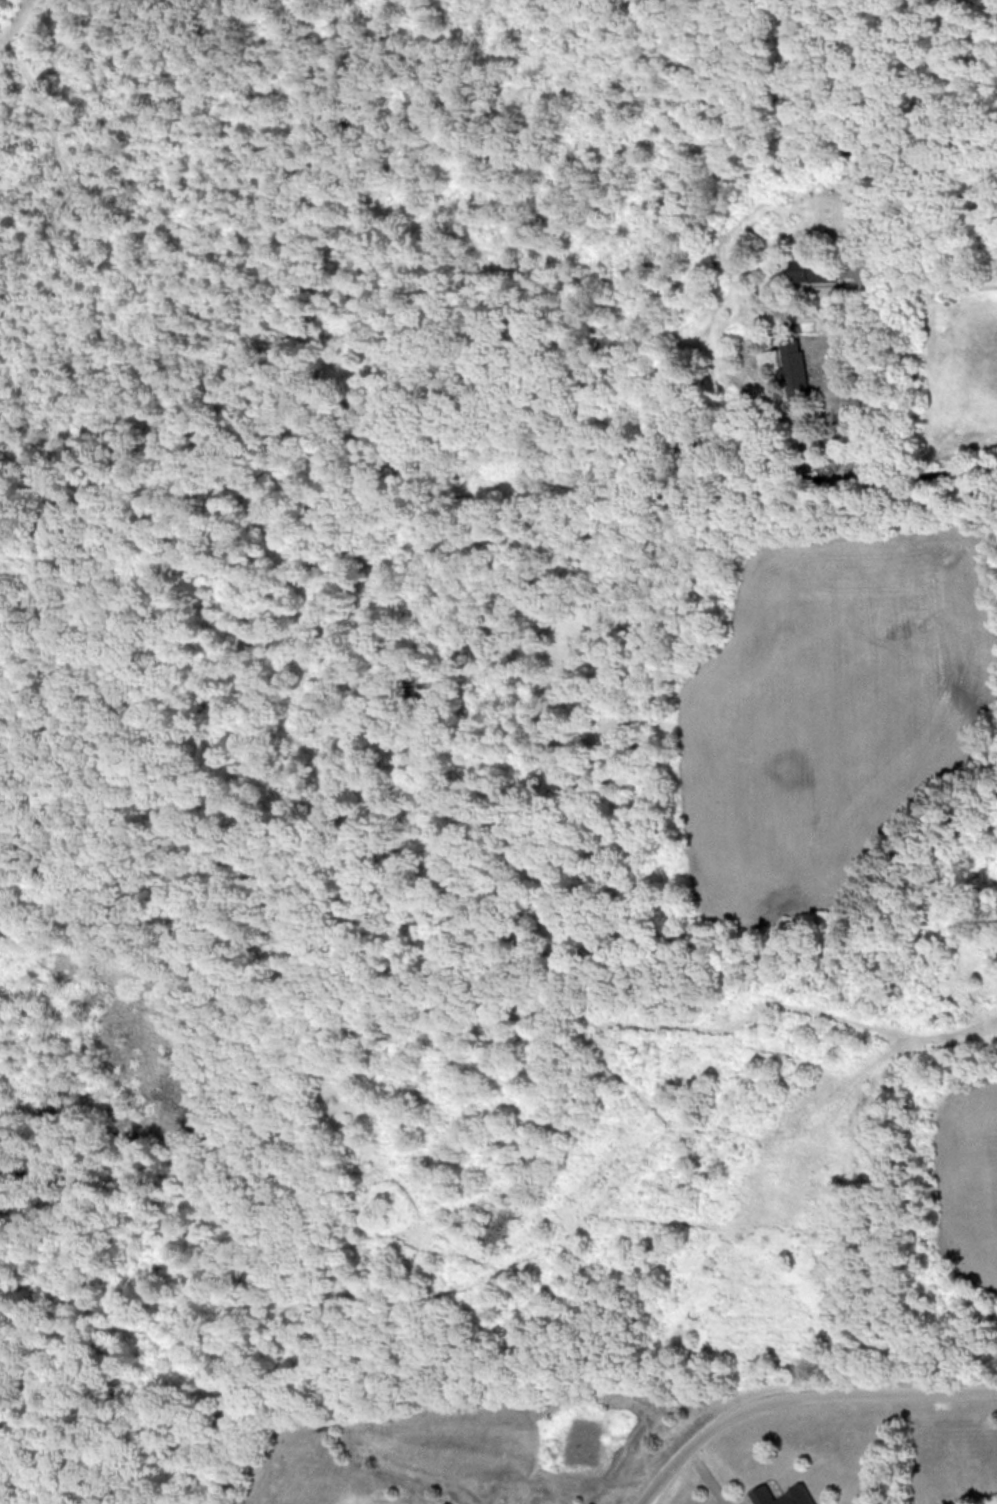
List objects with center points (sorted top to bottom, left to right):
road: (784, 87)
building: (815, 271)
building: (795, 373)
road: (904, 466)
road: (798, 1398)
building: (782, 1496)

